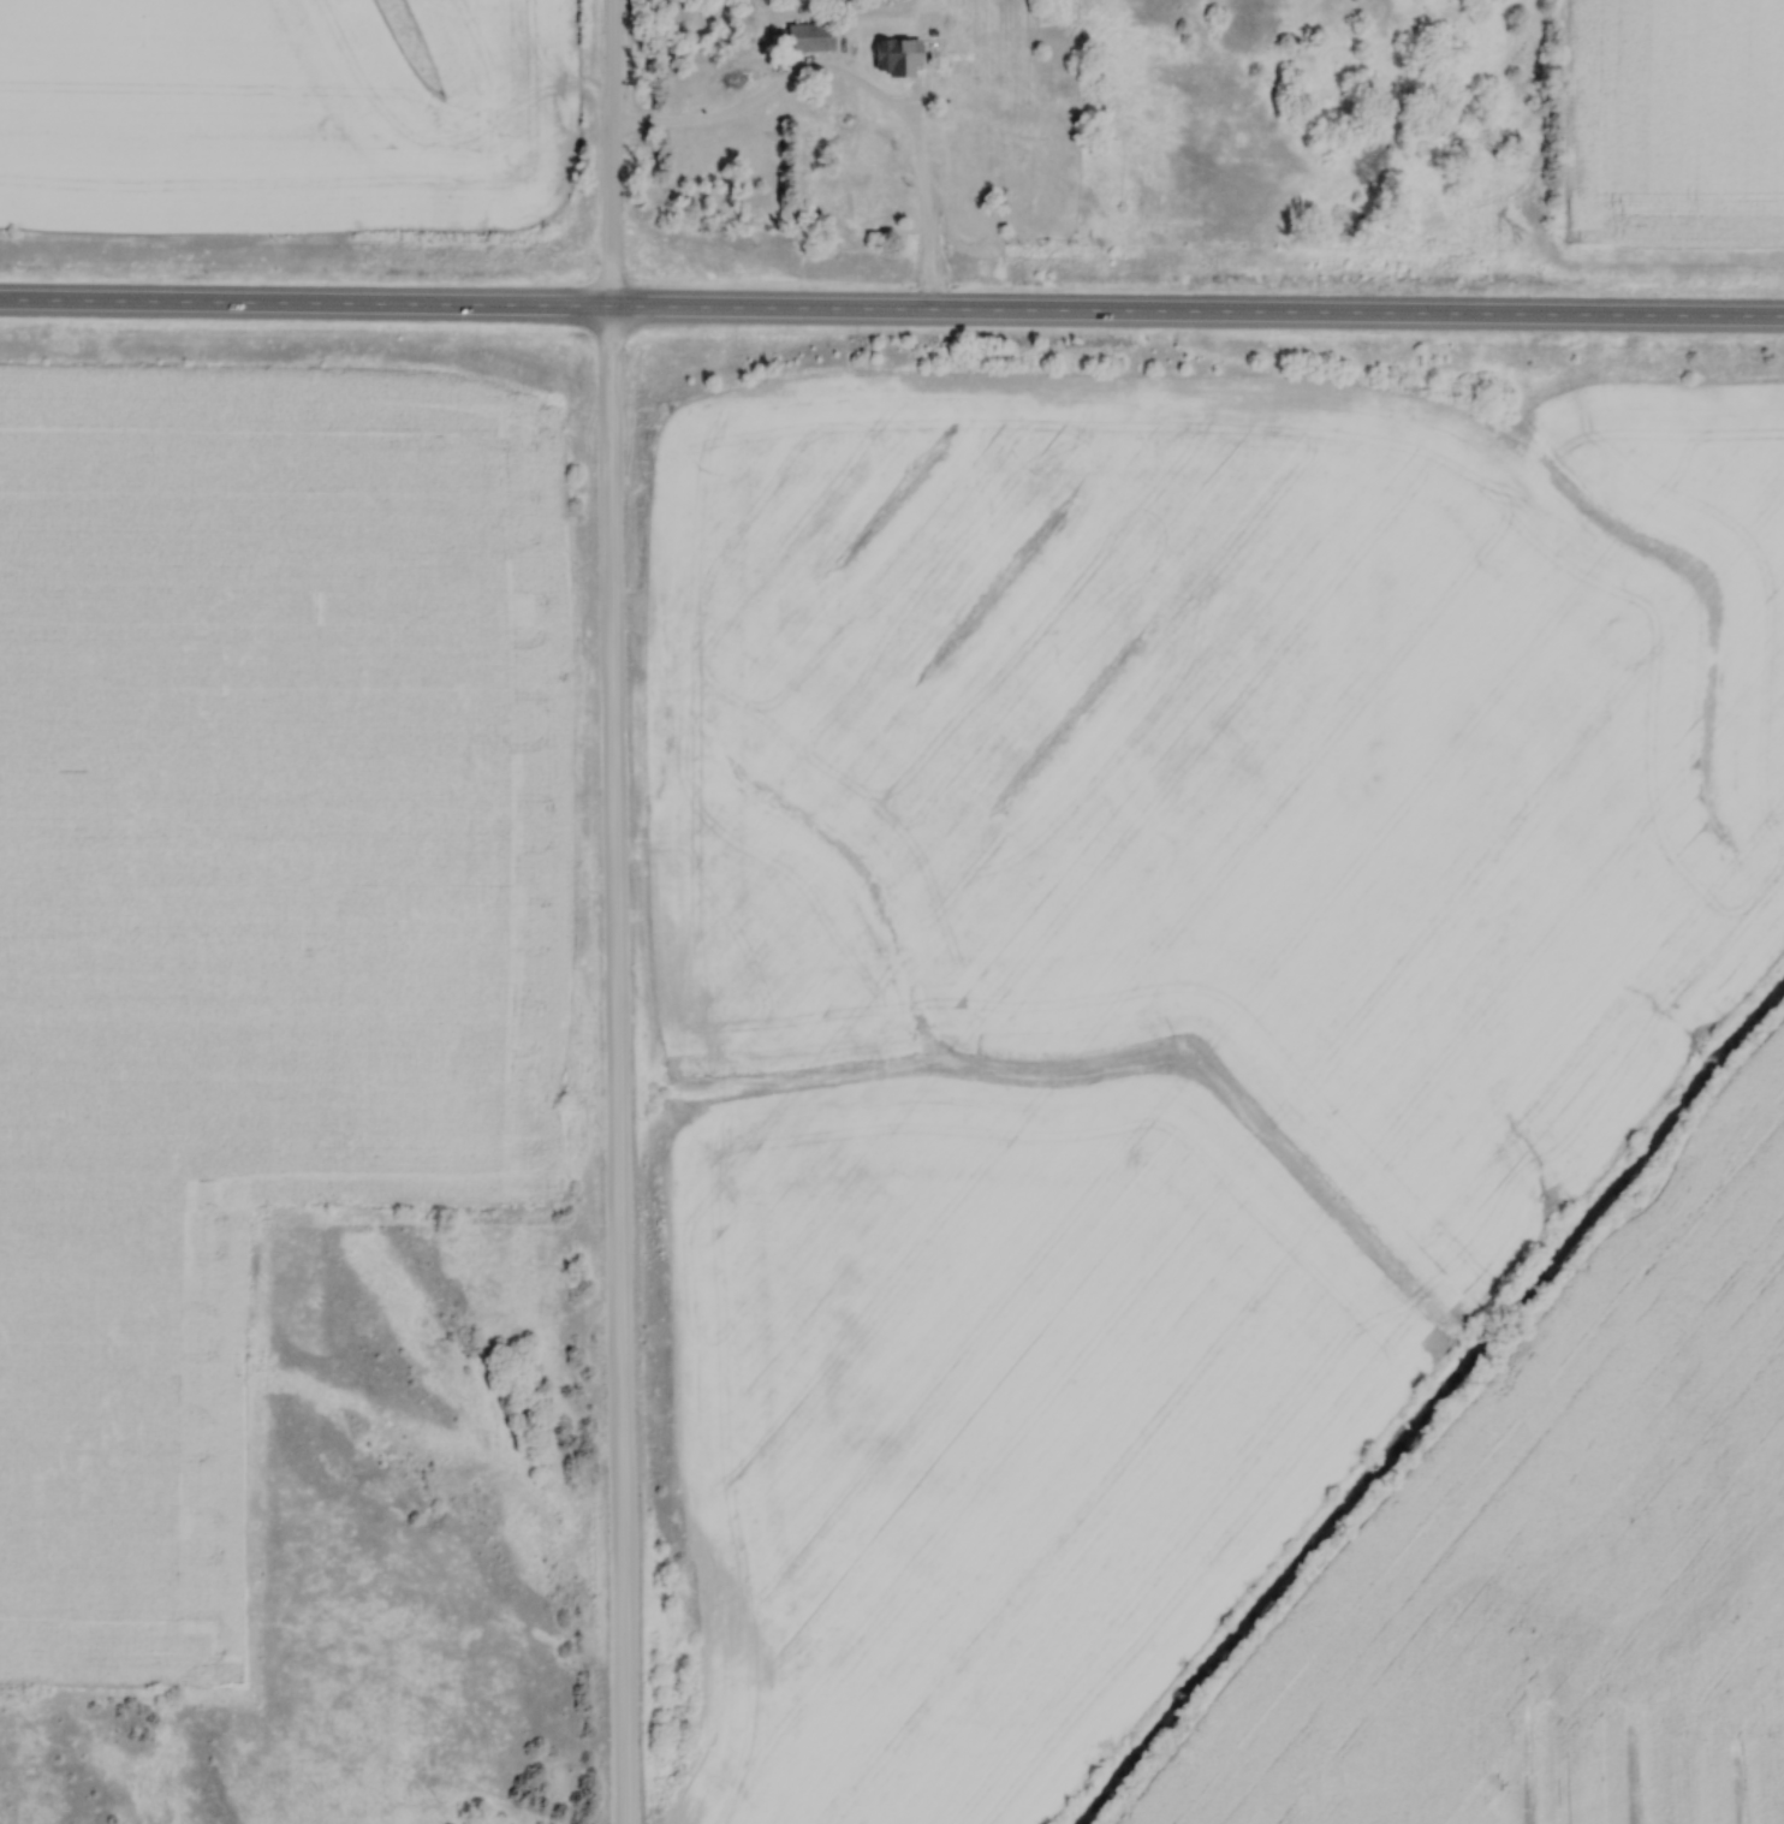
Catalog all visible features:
building: (814, 37)
road: (716, 119)
building: (1000, 126)
road: (609, 154)
building: (872, 208)
road: (924, 225)
road: (892, 313)
road: (614, 1067)

